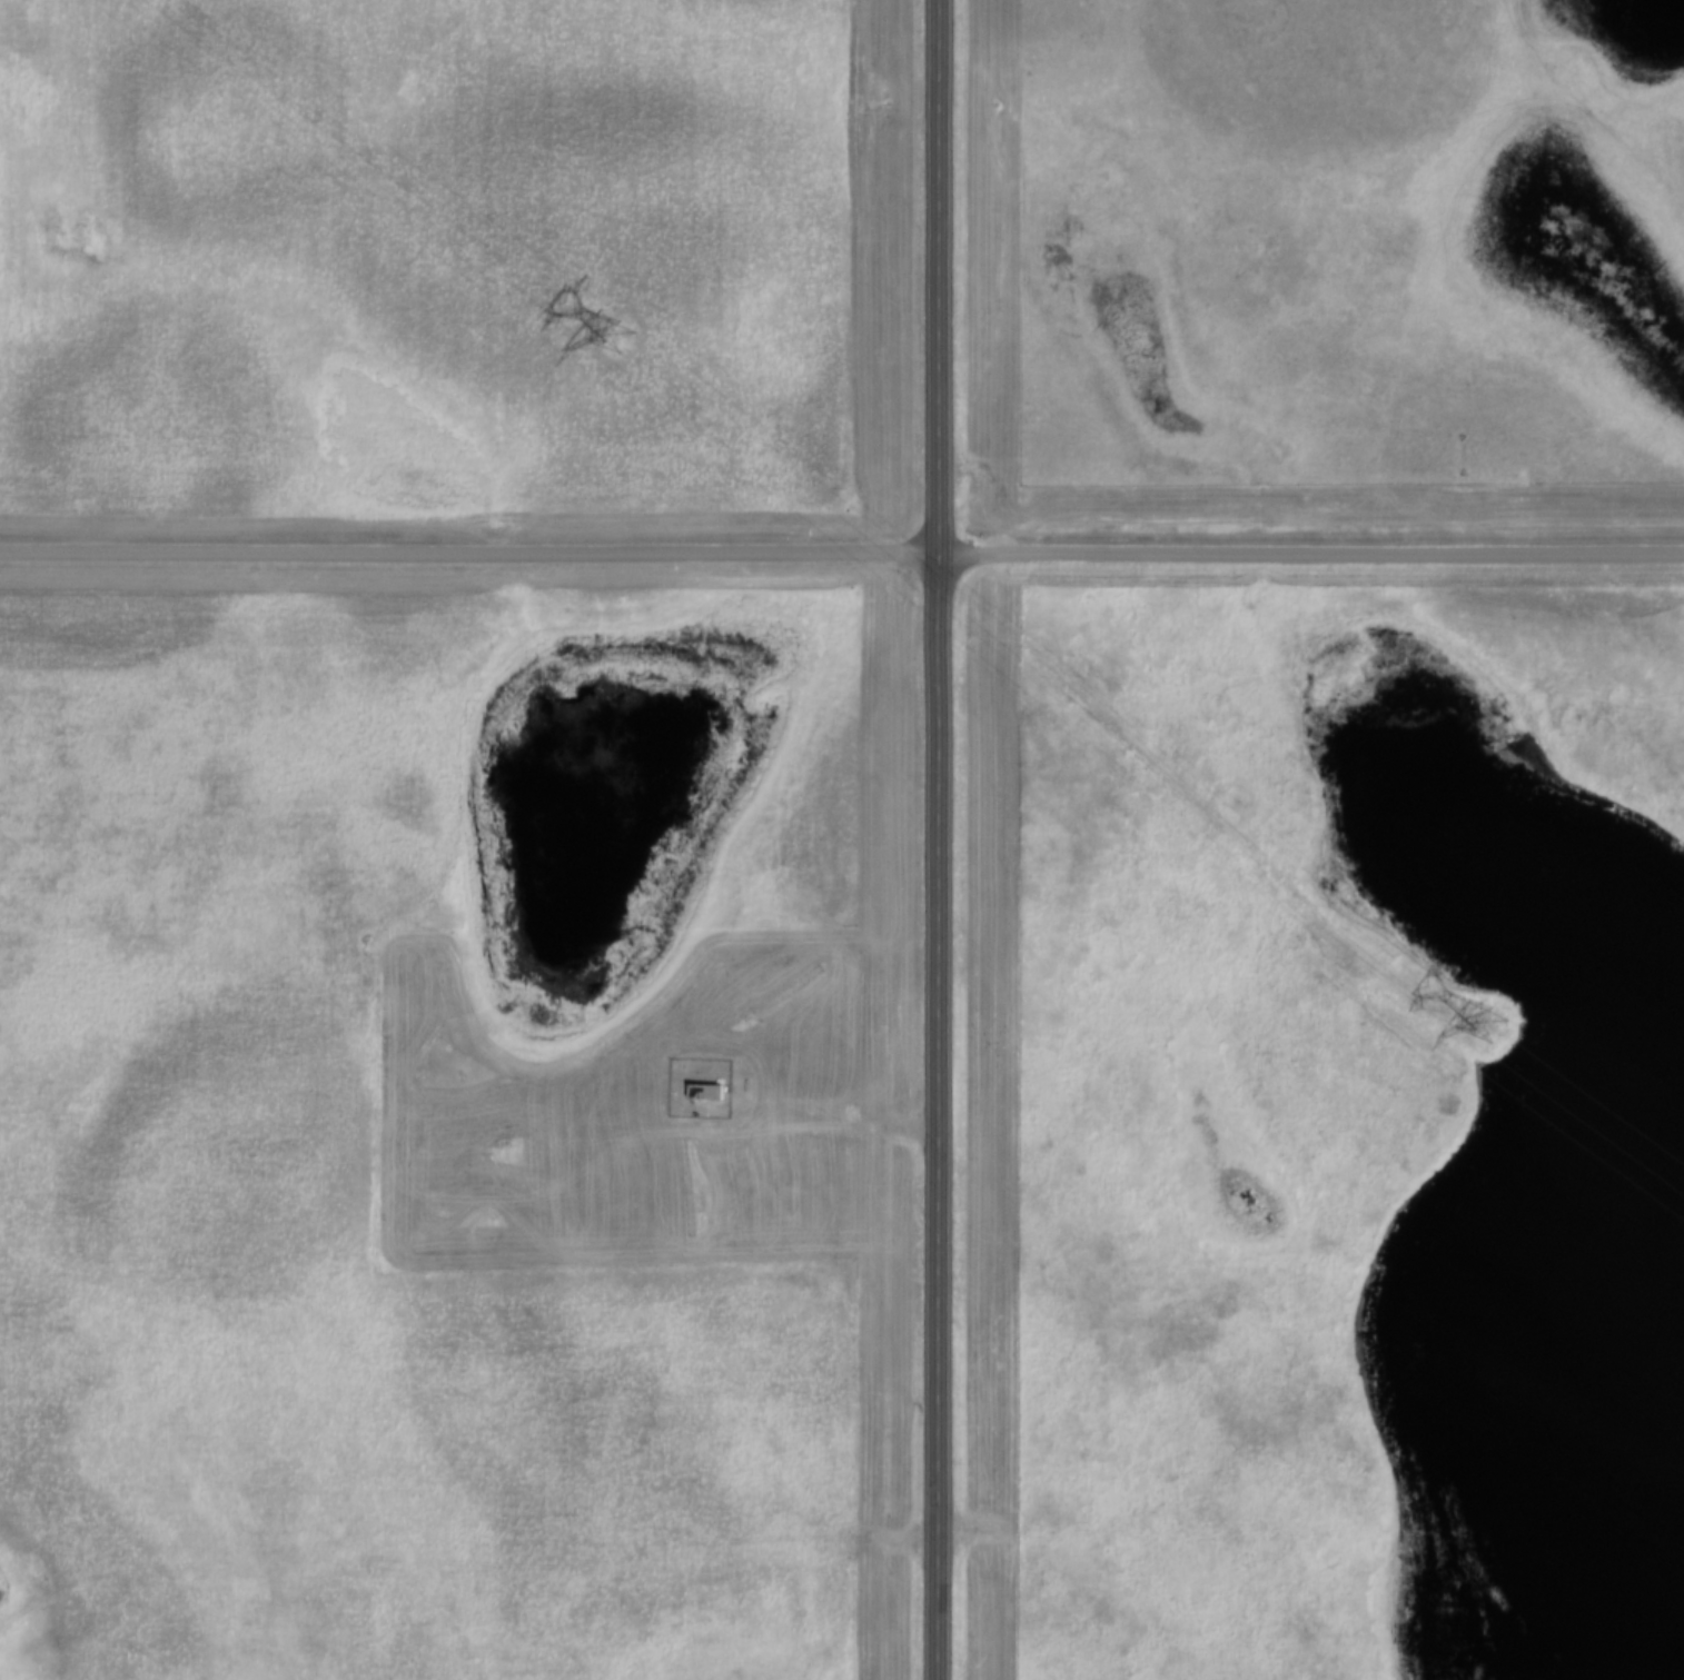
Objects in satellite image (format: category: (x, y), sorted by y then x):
power tower: (621, 337)
road: (841, 551)
road: (942, 839)
power tower: (1490, 1026)
building: (711, 1093)

